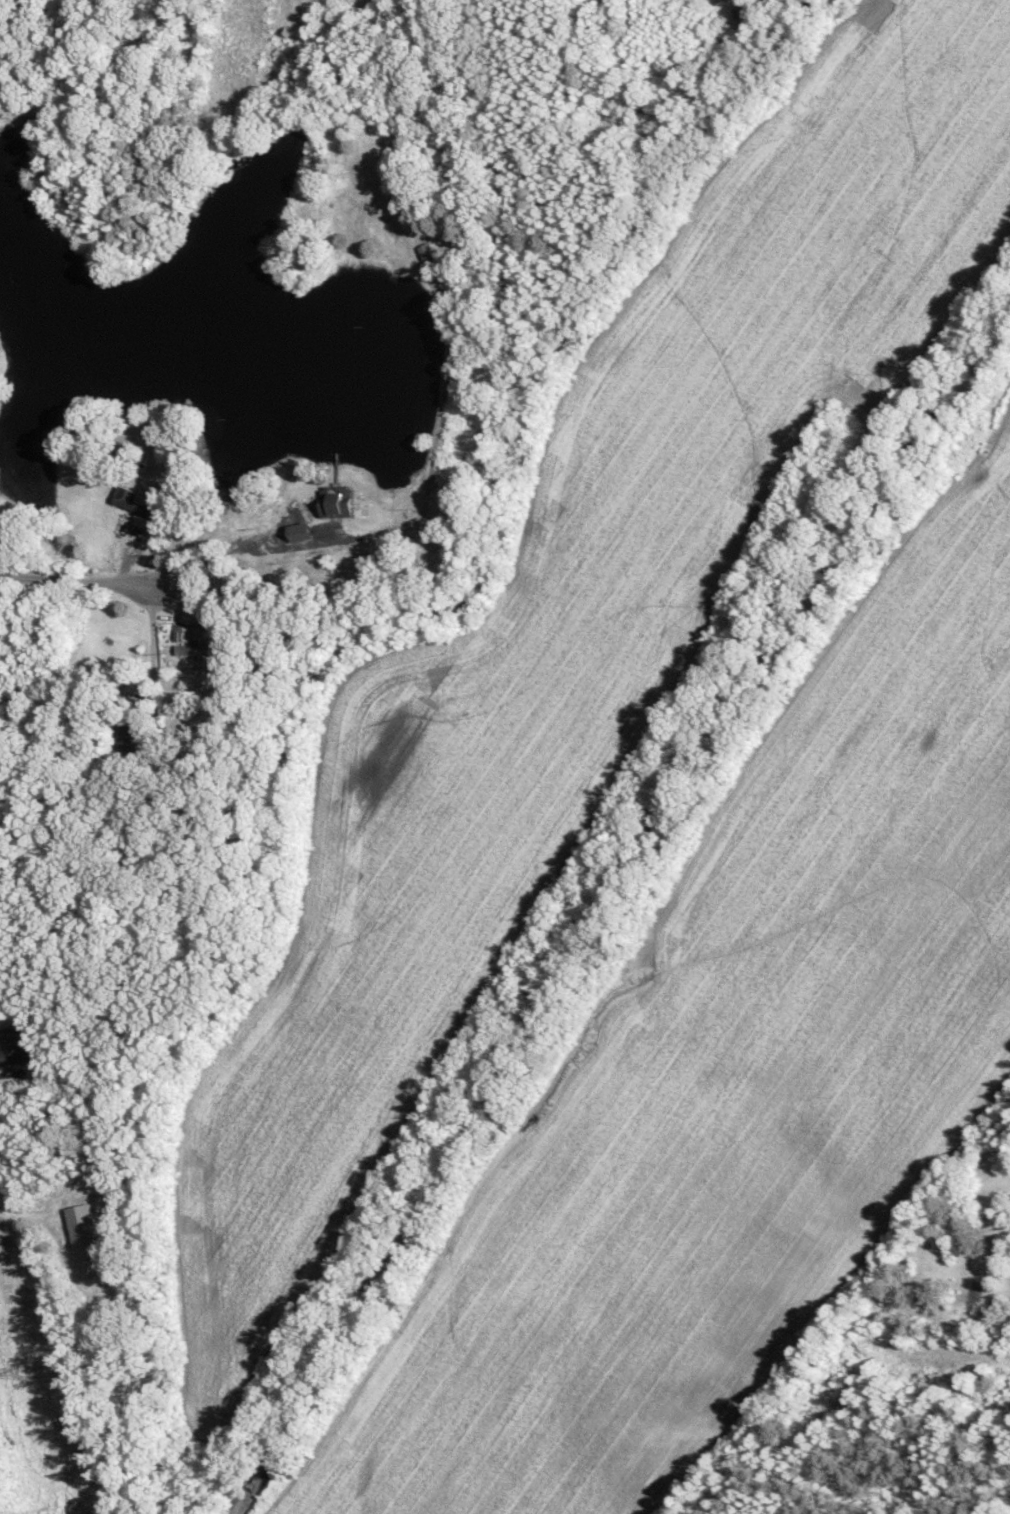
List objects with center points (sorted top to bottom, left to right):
building: (336, 500)
building: (136, 506)
building: (300, 531)
road: (250, 560)
road: (76, 580)
building: (192, 648)
road: (153, 649)
building: (130, 736)
building: (13, 1047)
road: (6, 1073)
road: (34, 1207)
building: (85, 1241)
power tower: (24, 1373)

